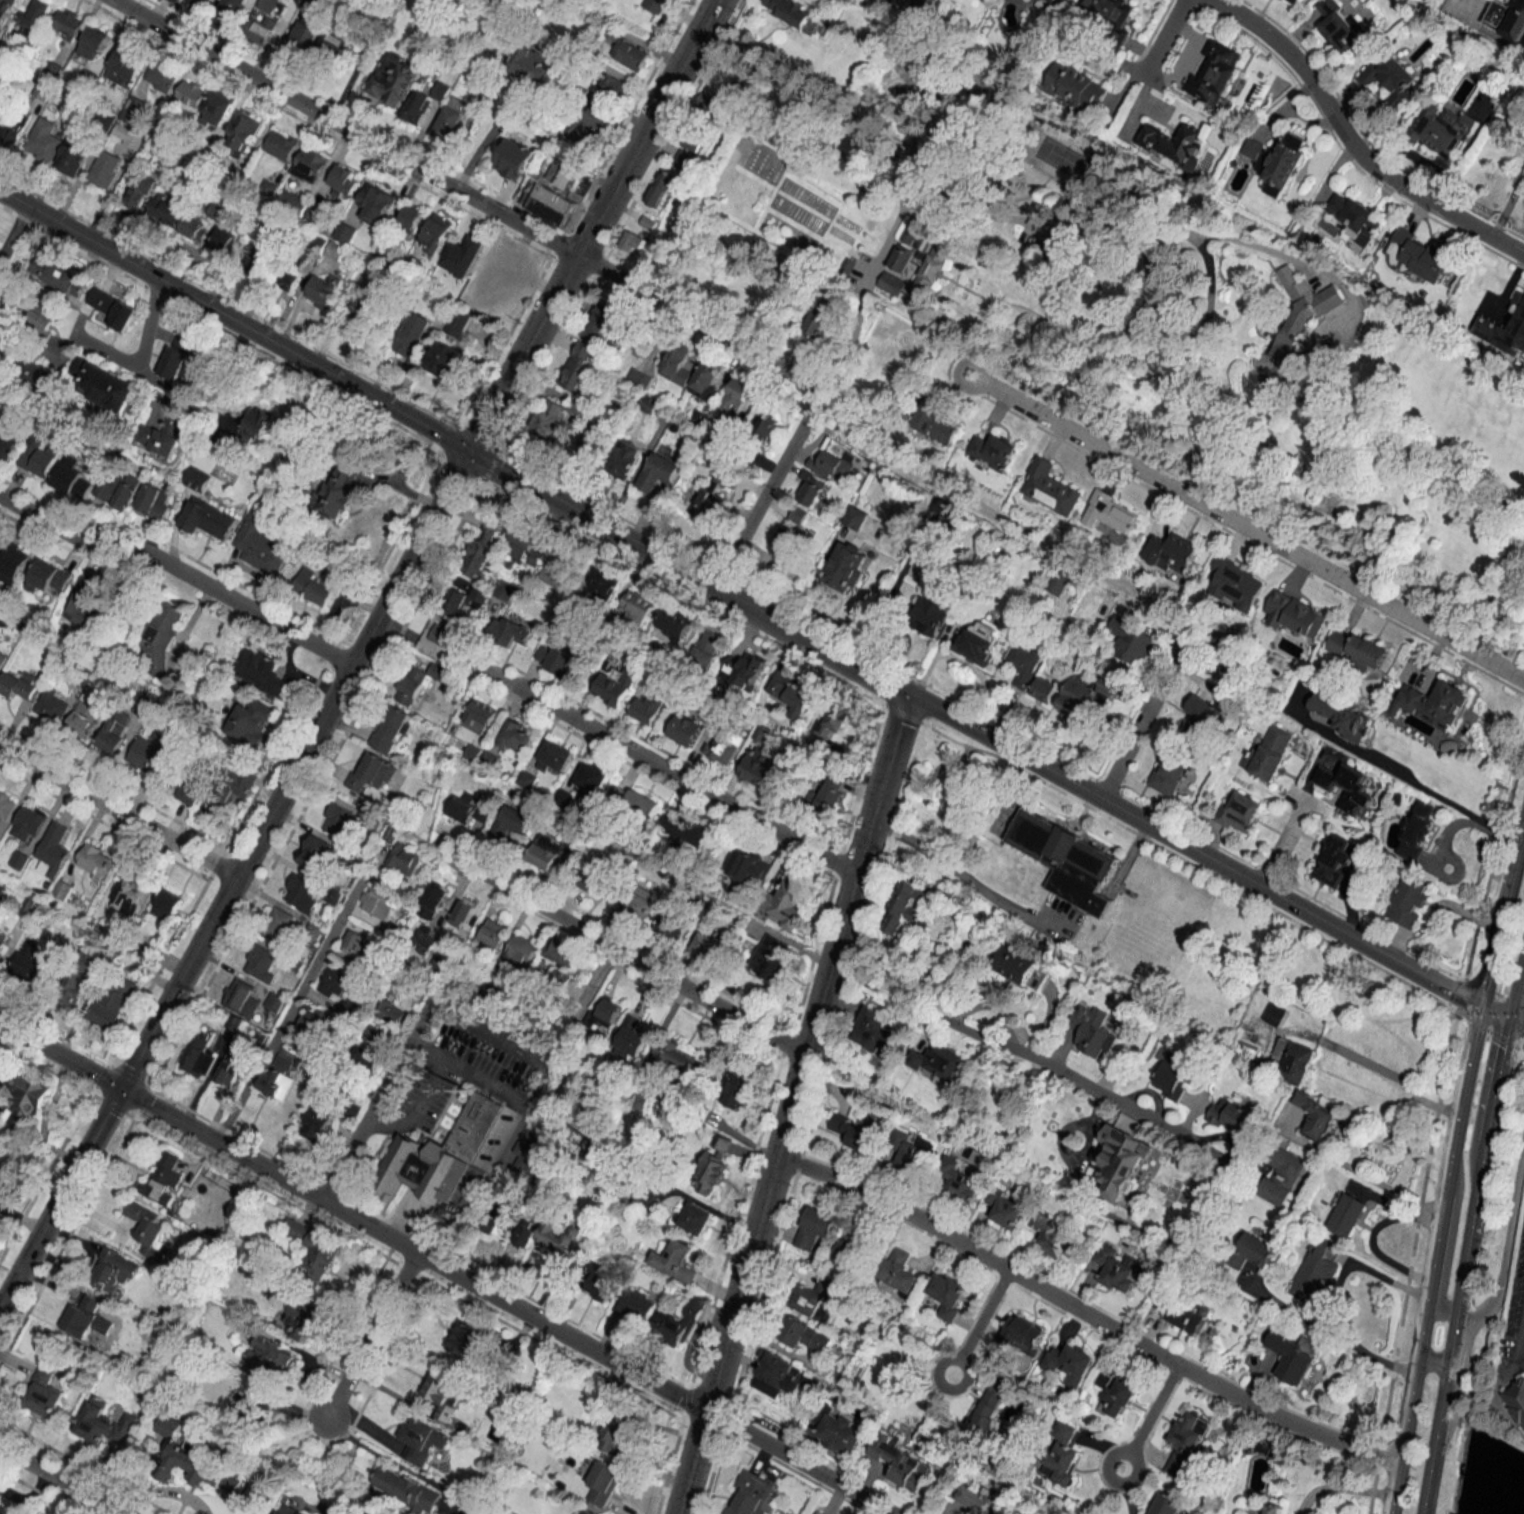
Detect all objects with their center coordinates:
building: (178, 0)
building: (1052, 1)
building: (1294, 1)
building: (314, 2)
building: (920, 4)
building: (199, 5)
building: (654, 5)
building: (5, 10)
building: (231, 13)
building: (795, 14)
building: (1110, 15)
building: (34, 17)
building: (1506, 19)
building: (262, 22)
building: (66, 24)
building: (1342, 26)
building: (306, 34)
road: (1161, 41)
building: (93, 43)
building: (626, 49)
building: (342, 56)
building: (127, 63)
building: (526, 68)
building: (1216, 69)
building: (160, 77)
building: (394, 79)
building: (1389, 79)
building: (618, 87)
building: (1075, 88)
building: (191, 93)
building: (705, 100)
building: (218, 106)
building: (417, 106)
building: (600, 118)
building: (451, 120)
building: (13, 127)
road: (343, 128)
road: (646, 128)
building: (245, 131)
building: (1440, 131)
building: (128, 135)
building: (584, 135)
building: (43, 140)
road: (481, 143)
building: (281, 145)
building: (1174, 145)
road: (1351, 145)
building: (687, 151)
building: (72, 156)
building: (513, 159)
building: (1277, 161)
building: (309, 165)
building: (105, 168)
building: (561, 175)
building: (344, 180)
building: (660, 188)
building: (138, 191)
building: (290, 199)
building: (375, 203)
building: (551, 204)
building: (166, 210)
building: (1355, 217)
building: (410, 218)
road: (10, 225)
building: (195, 226)
building: (344, 232)
building: (436, 232)
road: (887, 239)
building: (634, 242)
building: (335, 250)
building: (463, 255)
building: (1418, 256)
building: (258, 261)
building: (929, 263)
building: (493, 268)
building: (58, 276)
building: (286, 277)
building: (322, 290)
building: (480, 300)
building: (113, 308)
road: (683, 315)
building: (43, 316)
building: (367, 317)
building: (820, 318)
building: (601, 321)
building: (1297, 321)
road: (234, 322)
building: (457, 322)
building: (1503, 332)
building: (414, 336)
road: (139, 354)
road: (522, 354)
building: (177, 357)
building: (446, 360)
road: (1330, 360)
building: (676, 364)
building: (577, 366)
building: (33, 373)
building: (638, 378)
building: (704, 378)
road: (804, 382)
building: (103, 384)
building: (735, 396)
building: (550, 418)
building: (936, 421)
building: (764, 422)
building: (258, 424)
building: (593, 433)
building: (161, 438)
building: (9, 442)
building: (992, 451)
traffic signals: (468, 453)
building: (40, 457)
building: (625, 459)
building: (832, 466)
building: (658, 472)
building: (70, 474)
building: (811, 487)
building: (1048, 487)
building: (119, 490)
building: (340, 491)
road: (764, 491)
building: (715, 497)
building: (154, 500)
building: (1110, 513)
building: (797, 515)
road: (998, 517)
building: (855, 518)
building: (208, 519)
road: (1245, 528)
building: (485, 540)
building: (789, 540)
building: (525, 547)
building: (261, 549)
building: (1171, 552)
building: (11, 565)
building: (847, 567)
building: (560, 569)
road: (179, 571)
building: (48, 577)
building: (605, 584)
building: (1235, 585)
building: (312, 587)
building: (464, 599)
building: (83, 603)
building: (638, 605)
building: (932, 612)
building: (1295, 614)
building: (675, 624)
building: (510, 631)
building: (437, 637)
building: (1131, 639)
building: (978, 640)
building: (158, 641)
building: (708, 647)
building: (1357, 650)
building: (2, 659)
building: (558, 660)
building: (1024, 662)
building: (743, 669)
building: (259, 672)
building: (417, 682)
building: (19, 685)
building: (614, 686)
building: (1043, 689)
road: (1157, 692)
building: (1079, 696)
building: (790, 697)
building: (1433, 703)
building: (52, 705)
building: (646, 710)
building: (481, 715)
building: (1203, 716)
building: (1343, 717)
building: (84, 719)
building: (251, 722)
building: (830, 723)
building: (389, 729)
building: (686, 730)
road: (971, 730)
building: (115, 733)
building: (517, 737)
building: (721, 750)
building: (1268, 753)
building: (148, 754)
building: (758, 770)
road: (666, 771)
building: (371, 772)
building: (1168, 774)
building: (592, 777)
building: (527, 779)
road: (1396, 779)
building: (1350, 787)
building: (230, 789)
building: (191, 793)
building: (828, 793)
building: (637, 802)
building: (6, 806)
building: (463, 807)
road: (118, 811)
building: (1238, 813)
building: (337, 819)
building: (516, 821)
building: (28, 823)
road: (1521, 823)
building: (686, 830)
building: (1417, 830)
road: (1521, 836)
road: (1281, 845)
building: (53, 850)
building: (545, 852)
building: (316, 853)
road: (1125, 858)
building: (404, 859)
building: (95, 860)
building: (1066, 860)
building: (1333, 860)
building: (747, 867)
road: (958, 871)
building: (598, 877)
road: (234, 880)
building: (62, 889)
building: (301, 894)
building: (130, 895)
building: (332, 896)
building: (433, 900)
building: (637, 900)
building: (378, 901)
building: (1409, 901)
building: (789, 902)
building: (167, 906)
building: (903, 907)
building: (463, 912)
road: (1497, 919)
building: (277, 924)
building: (673, 927)
building: (492, 932)
building: (3, 940)
building: (425, 940)
building: (359, 944)
building: (707, 945)
building: (518, 946)
building: (560, 950)
road: (614, 950)
building: (769, 961)
building: (32, 962)
building: (261, 962)
building: (439, 966)
building: (1020, 967)
building: (80, 978)
building: (335, 983)
building: (558, 986)
road: (1516, 989)
building: (241, 999)
building: (112, 1003)
traffic signals: (1478, 1004)
road: (1493, 1010)
road: (287, 1011)
building: (391, 1012)
building: (1274, 1013)
building: (540, 1014)
building: (603, 1015)
traffic signals: (1509, 1017)
road: (1516, 1022)
building: (312, 1026)
building: (1093, 1031)
building: (874, 1032)
building: (377, 1036)
road: (489, 1036)
building: (630, 1043)
road: (425, 1049)
road: (1009, 1049)
building: (674, 1056)
building: (199, 1058)
building: (366, 1058)
building: (1293, 1059)
building: (937, 1063)
building: (229, 1068)
road: (1394, 1077)
building: (279, 1078)
building: (1170, 1079)
road: (485, 1081)
road: (1497, 1081)
building: (735, 1091)
road: (379, 1093)
building: (25, 1102)
road: (791, 1104)
road: (526, 1107)
building: (351, 1109)
road: (417, 1109)
building: (1231, 1116)
building: (1316, 1116)
building: (317, 1124)
building: (855, 1132)
building: (910, 1150)
building: (532, 1152)
road: (1451, 1153)
building: (1120, 1161)
building: (440, 1162)
building: (710, 1173)
building: (1281, 1176)
building: (163, 1179)
building: (957, 1179)
road: (1379, 1185)
building: (1006, 1208)
building: (510, 1214)
building: (1345, 1214)
building: (694, 1218)
building: (147, 1227)
road: (1471, 1228)
building: (815, 1230)
building: (525, 1235)
building: (1054, 1235)
road: (1372, 1237)
building: (560, 1241)
road: (1508, 1247)
building: (314, 1248)
building: (1253, 1251)
building: (849, 1254)
building: (676, 1260)
road: (444, 1268)
building: (1117, 1268)
building: (114, 1270)
building: (899, 1270)
building: (1313, 1272)
building: (601, 1283)
building: (946, 1294)
road: (1336, 1295)
building: (815, 1298)
park: (1501, 1300)
building: (640, 1303)
building: (1161, 1304)
building: (300, 1309)
parking lot: (1513, 1312)
road: (1084, 1314)
building: (1189, 1314)
building: (85, 1317)
road: (1437, 1322)
building: (677, 1323)
road: (980, 1324)
building: (1023, 1334)
road: (370, 1336)
building: (805, 1336)
building: (468, 1341)
building: (1292, 1355)
building: (271, 1356)
road: (1432, 1358)
building: (1070, 1362)
building: (780, 1376)
building: (1114, 1392)
building: (444, 1393)
building: (44, 1394)
building: (1515, 1399)
road: (1405, 1408)
building: (988, 1410)
road: (1439, 1412)
road: (1149, 1418)
building: (102, 1423)
building: (837, 1431)
building: (615, 1432)
building: (422, 1440)
building: (1186, 1441)
building: (1262, 1446)
building: (1059, 1455)
building: (193, 1462)
building: (902, 1464)
road: (59, 1481)
building: (602, 1483)
road: (1338, 1486)
building: (406, 1490)
building: (751, 1494)
road: (26, 1495)
building: (979, 1501)
building: (1167, 1504)
building: (1272, 1509)
building: (289, 1510)
building: (584, 1511)
building: (817, 1513)

